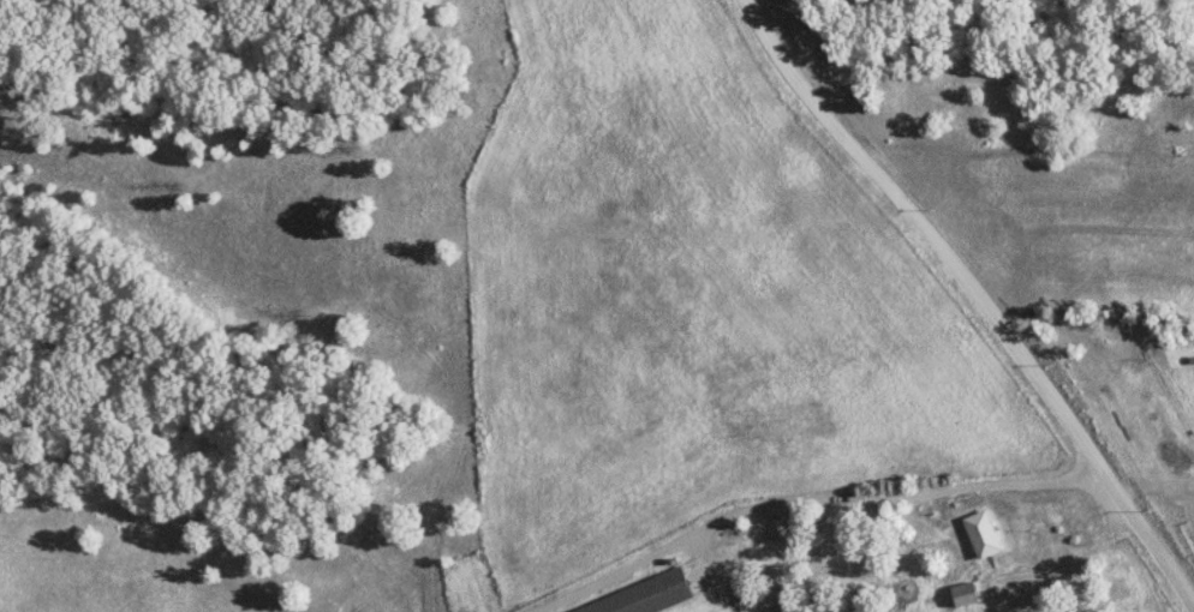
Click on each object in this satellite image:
road: (977, 299)
building: (981, 532)
building: (963, 592)
building: (644, 595)

